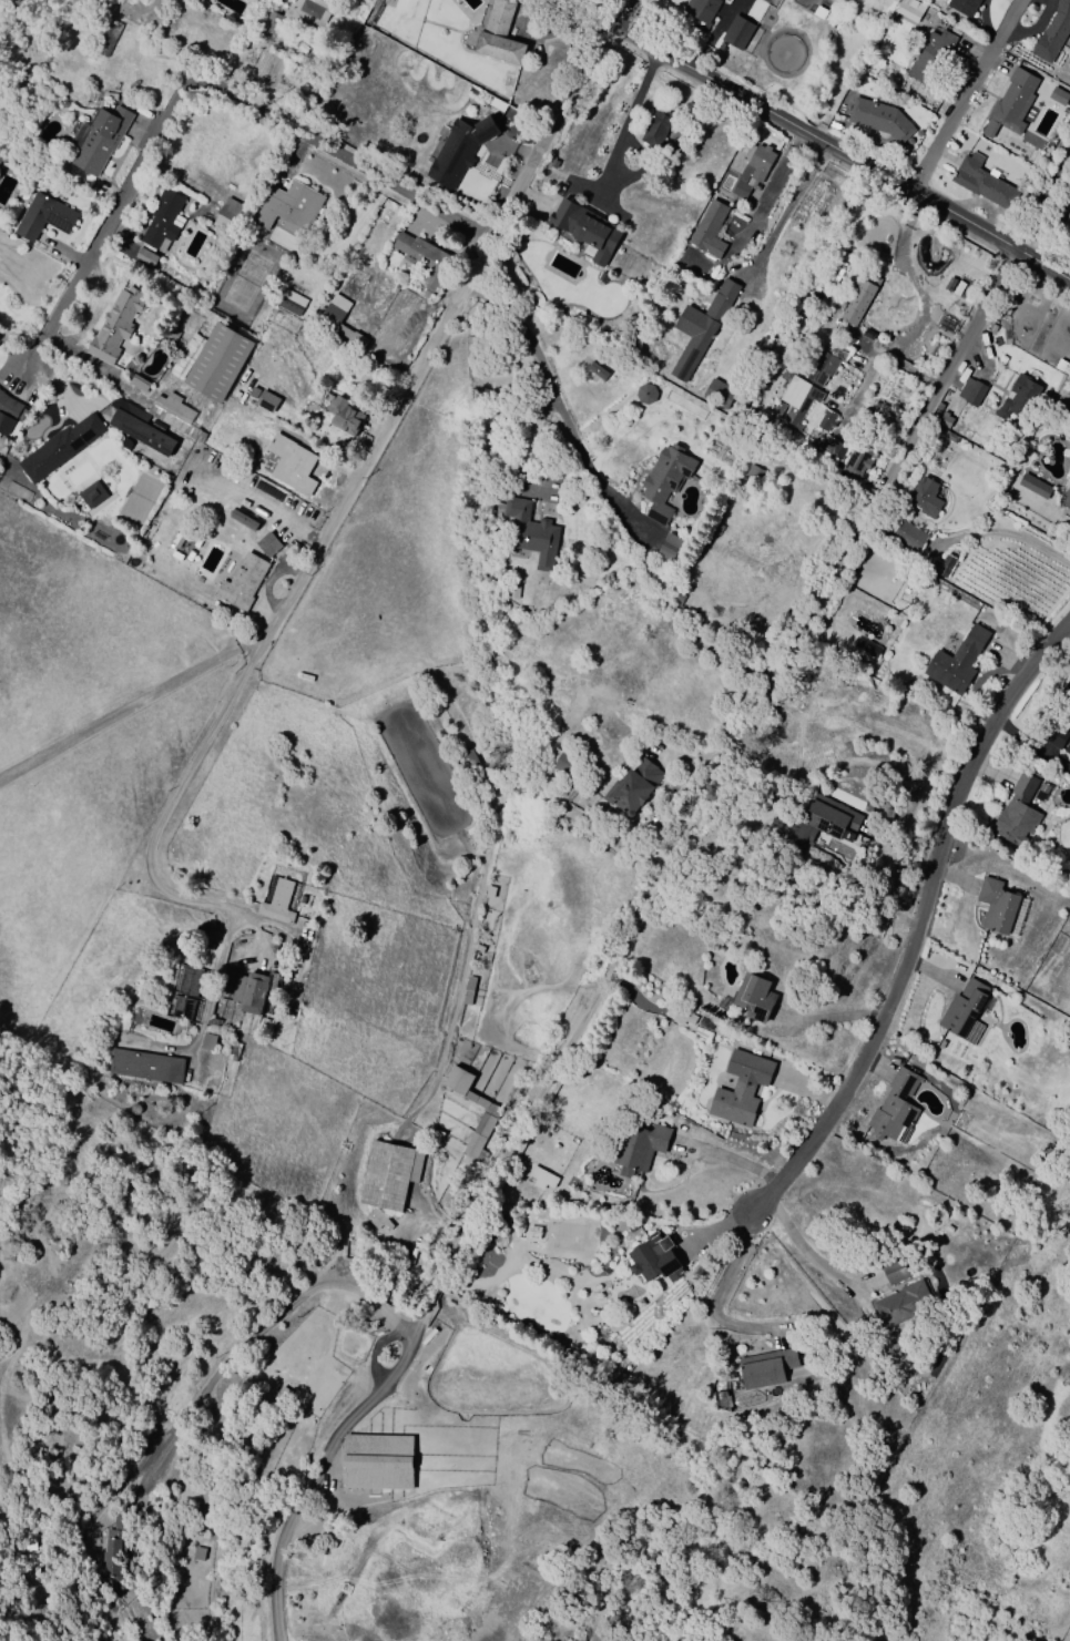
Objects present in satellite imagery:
building: (962, 7)
building: (701, 10)
building: (909, 10)
building: (308, 13)
road: (573, 14)
road: (614, 14)
building: (268, 21)
building: (737, 32)
building: (1053, 32)
building: (499, 35)
building: (106, 38)
building: (930, 58)
road: (202, 88)
building: (109, 96)
building: (1058, 96)
road: (966, 98)
building: (846, 101)
building: (1011, 104)
building: (879, 120)
building: (656, 129)
road: (549, 133)
building: (98, 140)
building: (457, 149)
road: (837, 155)
road: (610, 161)
building: (753, 169)
building: (982, 183)
road: (771, 187)
road: (1041, 201)
road: (788, 206)
building: (289, 207)
building: (737, 211)
building: (227, 214)
building: (43, 217)
building: (161, 226)
building: (587, 230)
building: (709, 230)
building: (424, 259)
building: (602, 277)
building: (949, 285)
building: (858, 298)
building: (291, 303)
building: (337, 319)
building: (115, 325)
building: (701, 328)
building: (171, 336)
building: (212, 363)
building: (597, 371)
building: (137, 386)
building: (805, 389)
building: (719, 391)
building: (971, 391)
road: (556, 394)
building: (645, 394)
building: (1019, 398)
building: (266, 401)
building: (8, 414)
building: (174, 415)
building: (344, 416)
building: (940, 416)
building: (825, 420)
building: (139, 427)
building: (60, 448)
building: (833, 448)
building: (495, 450)
building: (856, 462)
building: (291, 463)
building: (756, 472)
building: (664, 481)
building: (1033, 486)
building: (92, 495)
building: (925, 498)
building: (1067, 498)
building: (782, 512)
building: (243, 520)
building: (530, 532)
road: (1003, 533)
building: (909, 536)
building: (268, 544)
building: (668, 549)
road: (314, 551)
building: (940, 567)
building: (241, 581)
building: (512, 592)
building: (864, 649)
building: (957, 661)
building: (1063, 694)
building: (1053, 735)
building: (470, 758)
building: (560, 761)
building: (632, 787)
building: (1017, 814)
building: (819, 823)
building: (470, 832)
road: (687, 832)
building: (277, 903)
building: (997, 906)
road: (230, 919)
road: (919, 921)
building: (275, 952)
building: (191, 981)
building: (253, 991)
building: (468, 991)
building: (755, 997)
building: (182, 1009)
building: (965, 1012)
building: (681, 1015)
building: (213, 1025)
road: (195, 1039)
building: (207, 1042)
building: (1068, 1042)
building: (144, 1067)
building: (741, 1088)
building: (895, 1109)
building: (481, 1130)
building: (435, 1134)
building: (641, 1148)
road: (728, 1158)
building: (388, 1174)
building: (541, 1178)
building: (378, 1221)
road: (805, 1253)
building: (654, 1260)
building: (894, 1270)
road: (720, 1292)
building: (904, 1305)
road: (248, 1332)
building: (765, 1368)
building: (721, 1402)
building: (378, 1477)
road: (291, 1518)
building: (115, 1551)

